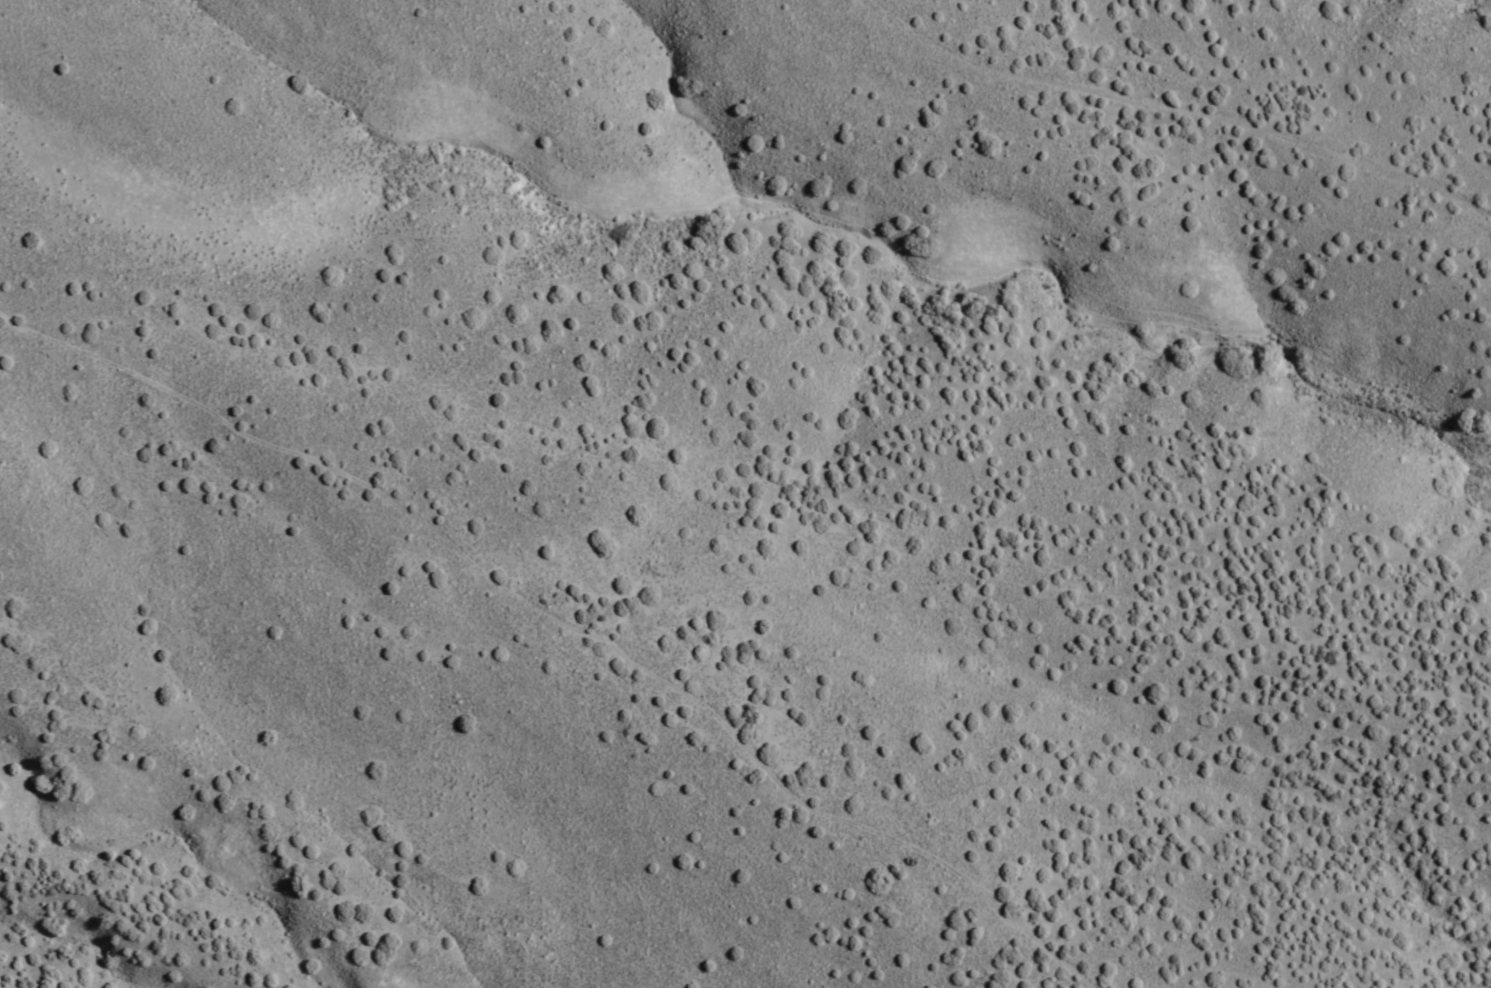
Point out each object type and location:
road: (562, 623)

